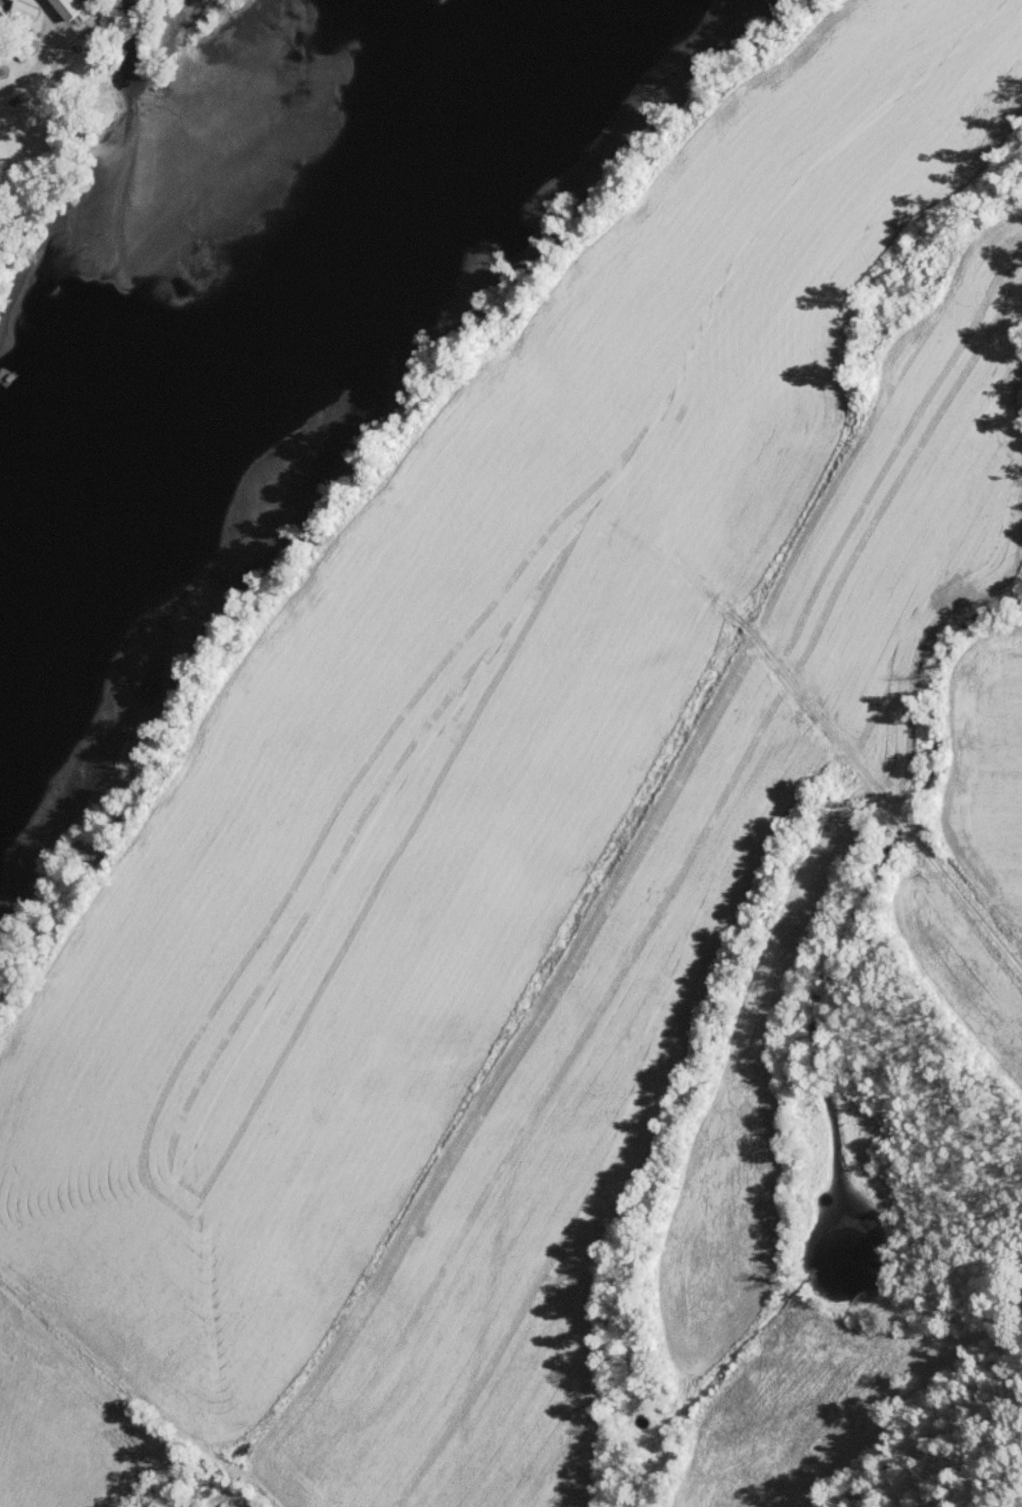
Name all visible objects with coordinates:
building: (68, 8)
building: (23, 10)
road: (40, 53)
river: (288, 330)
crop: (974, 791)

